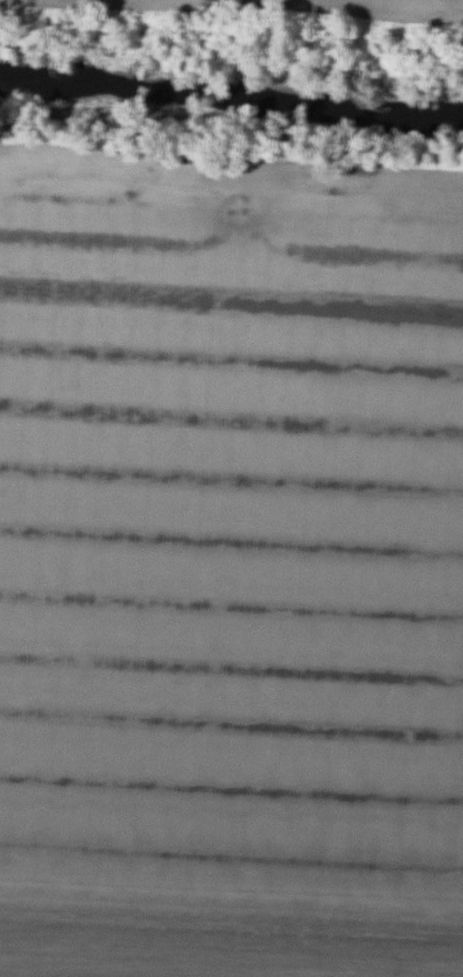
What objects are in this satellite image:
crop: (280, 11)
river: (231, 99)
crop: (230, 565)

